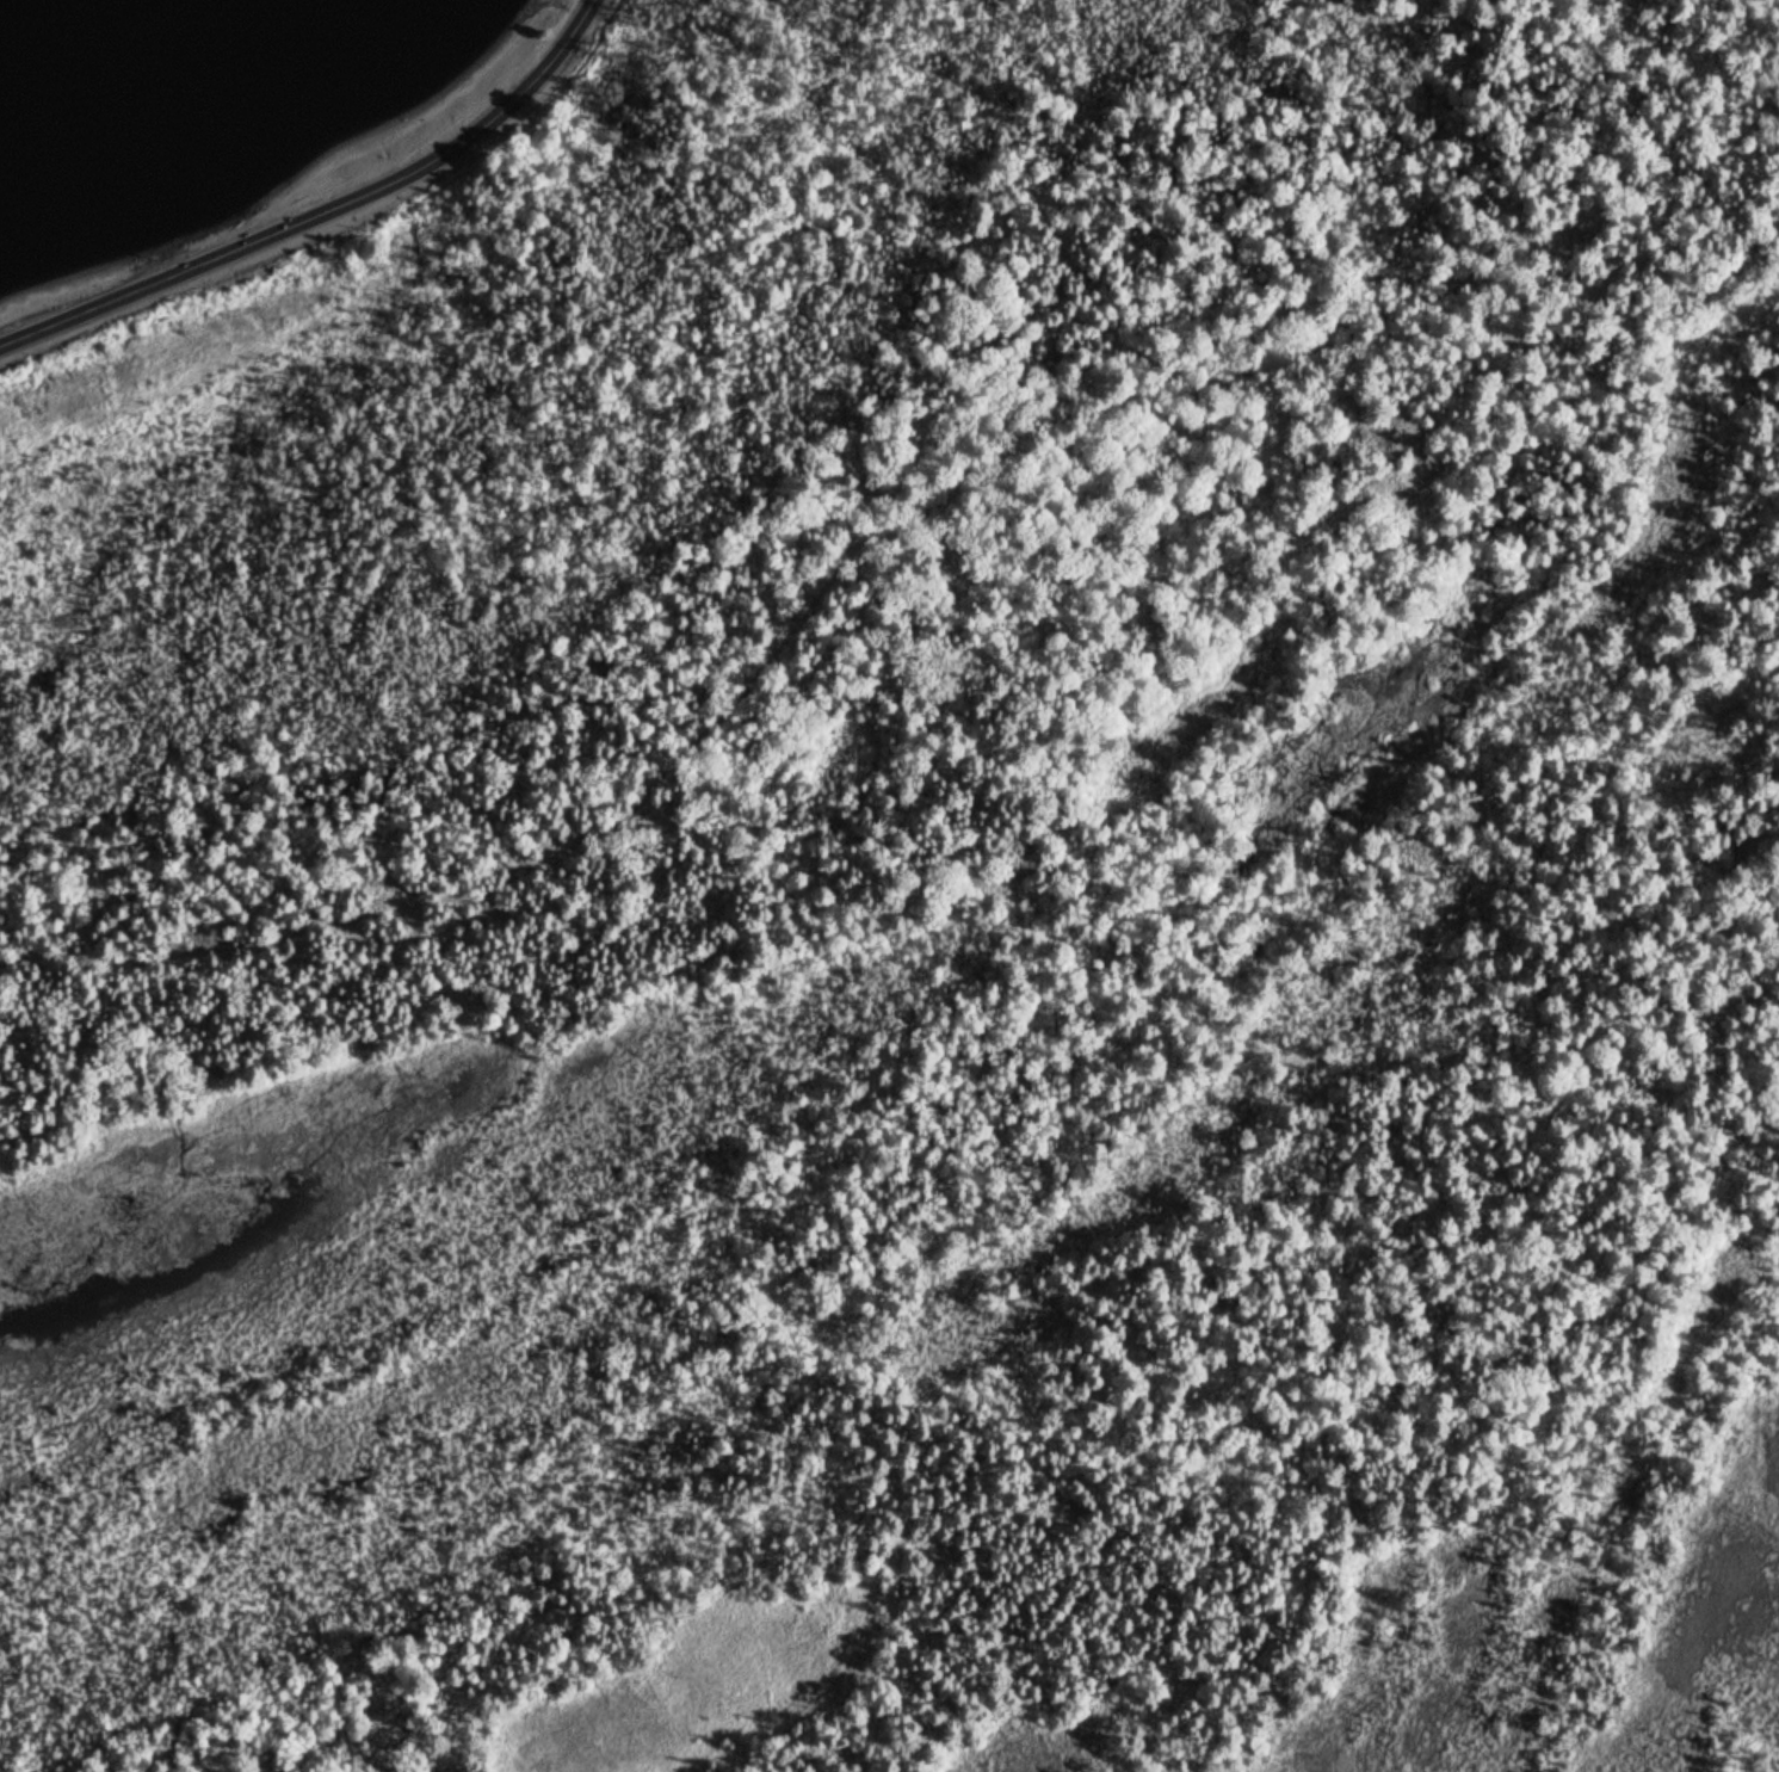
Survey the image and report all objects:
road: (326, 210)

